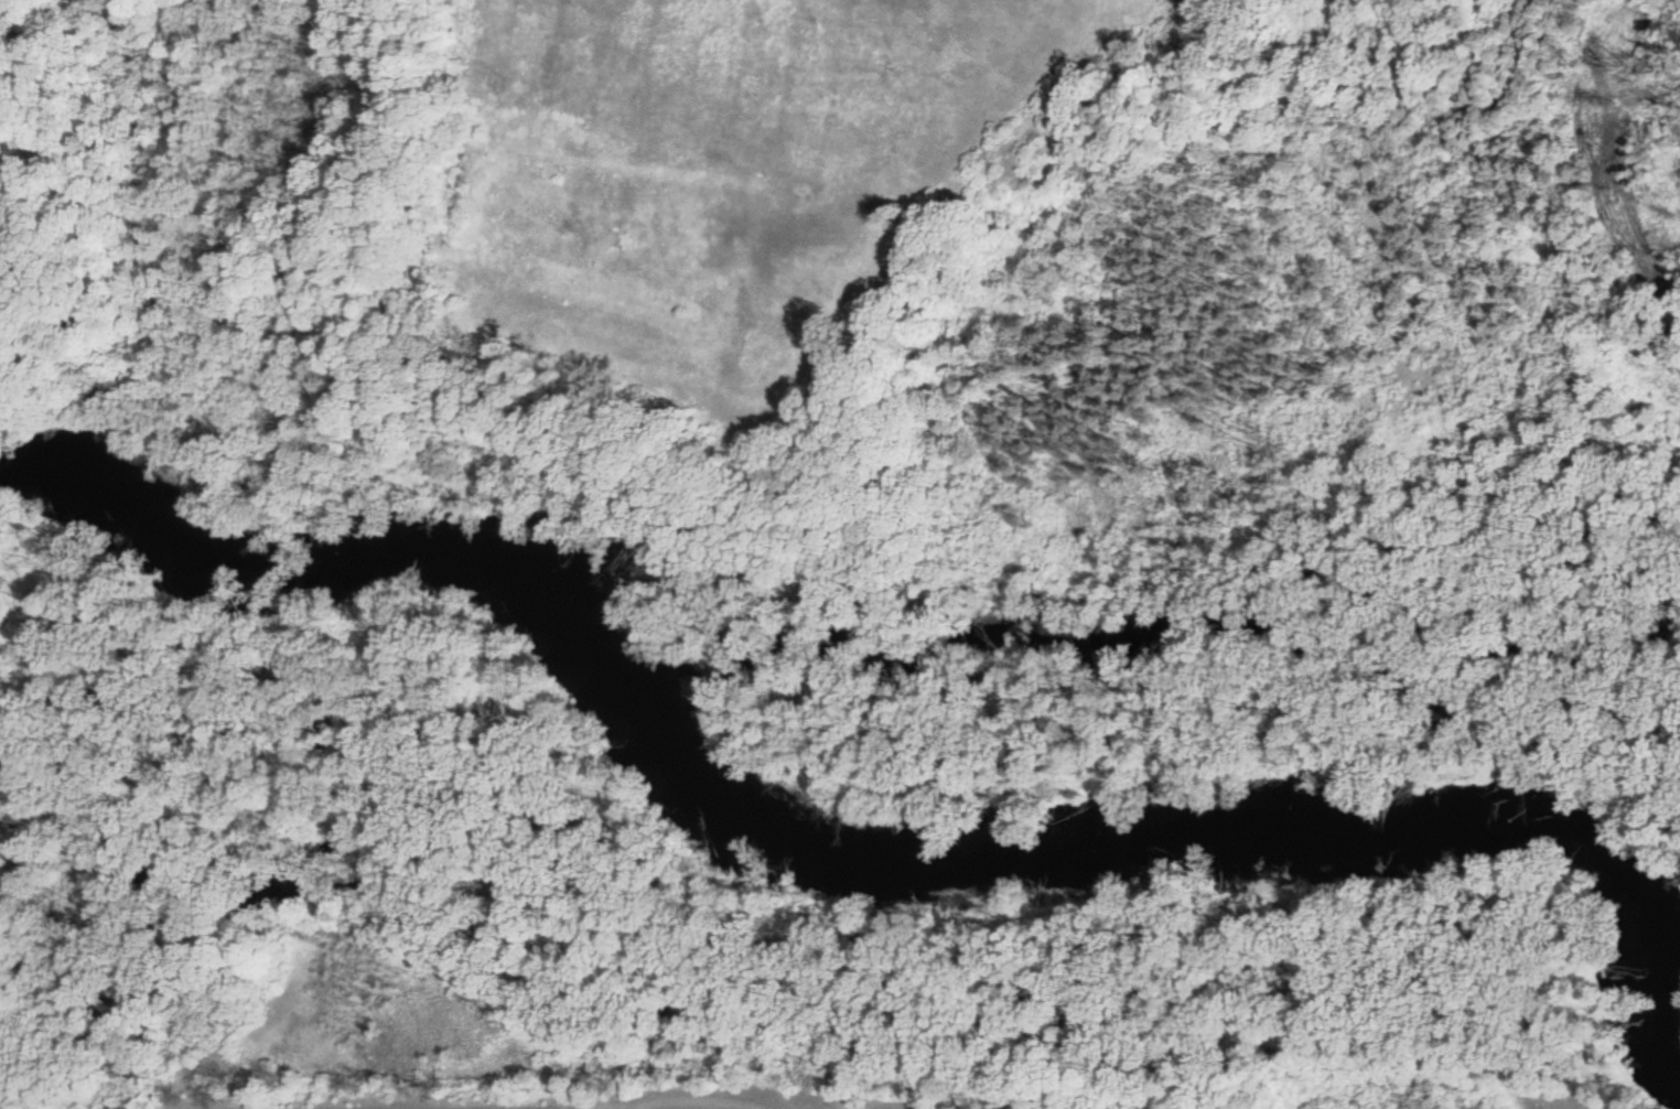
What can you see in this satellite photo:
road: (1192, 265)
river: (848, 866)
park: (530, 875)

